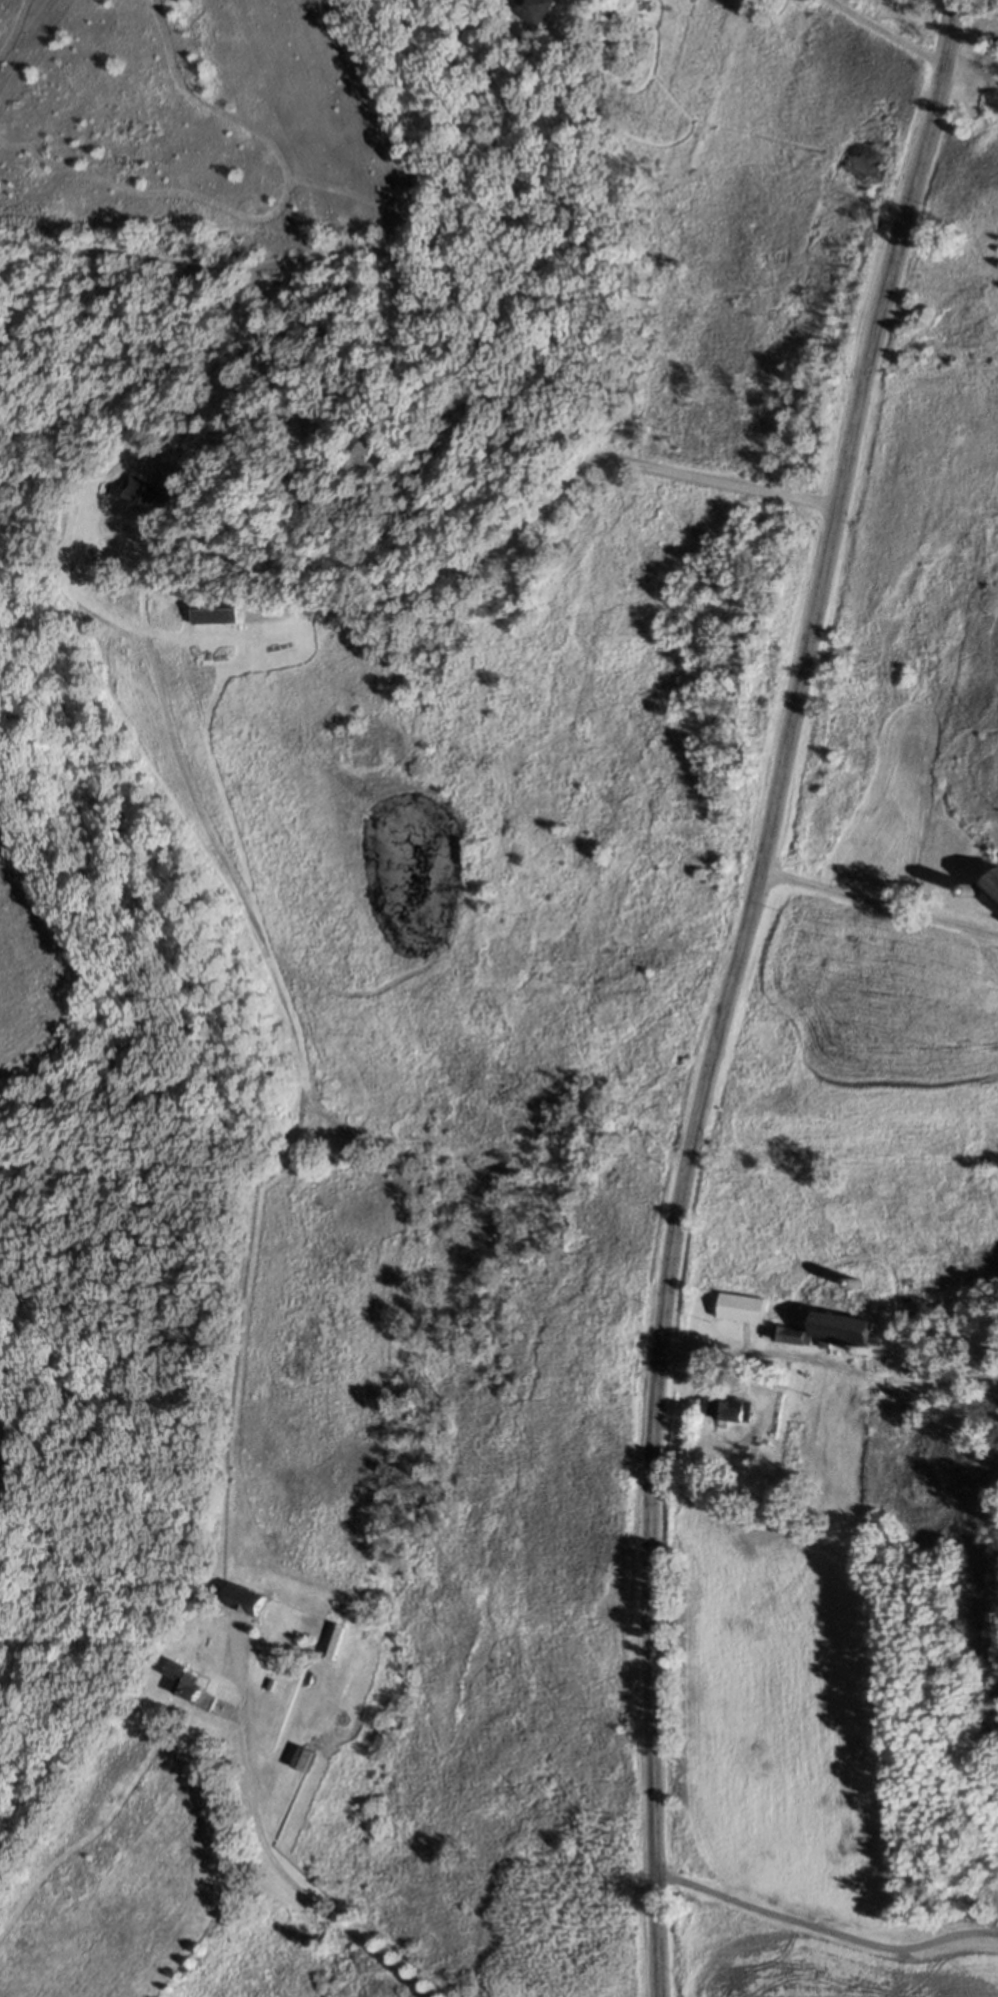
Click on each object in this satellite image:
building: (531, 8)
road: (973, 34)
road: (910, 47)
building: (143, 490)
road: (505, 543)
building: (213, 609)
building: (992, 885)
road: (877, 905)
building: (997, 957)
road: (726, 989)
building: (855, 1282)
building: (740, 1308)
building: (840, 1329)
building: (787, 1336)
building: (863, 1351)
road: (828, 1361)
building: (920, 1361)
building: (727, 1411)
building: (770, 1441)
building: (240, 1598)
road: (98, 1615)
building: (332, 1641)
building: (181, 1678)
road: (220, 1707)
building: (298, 1759)
road: (262, 1841)
road: (823, 1930)

